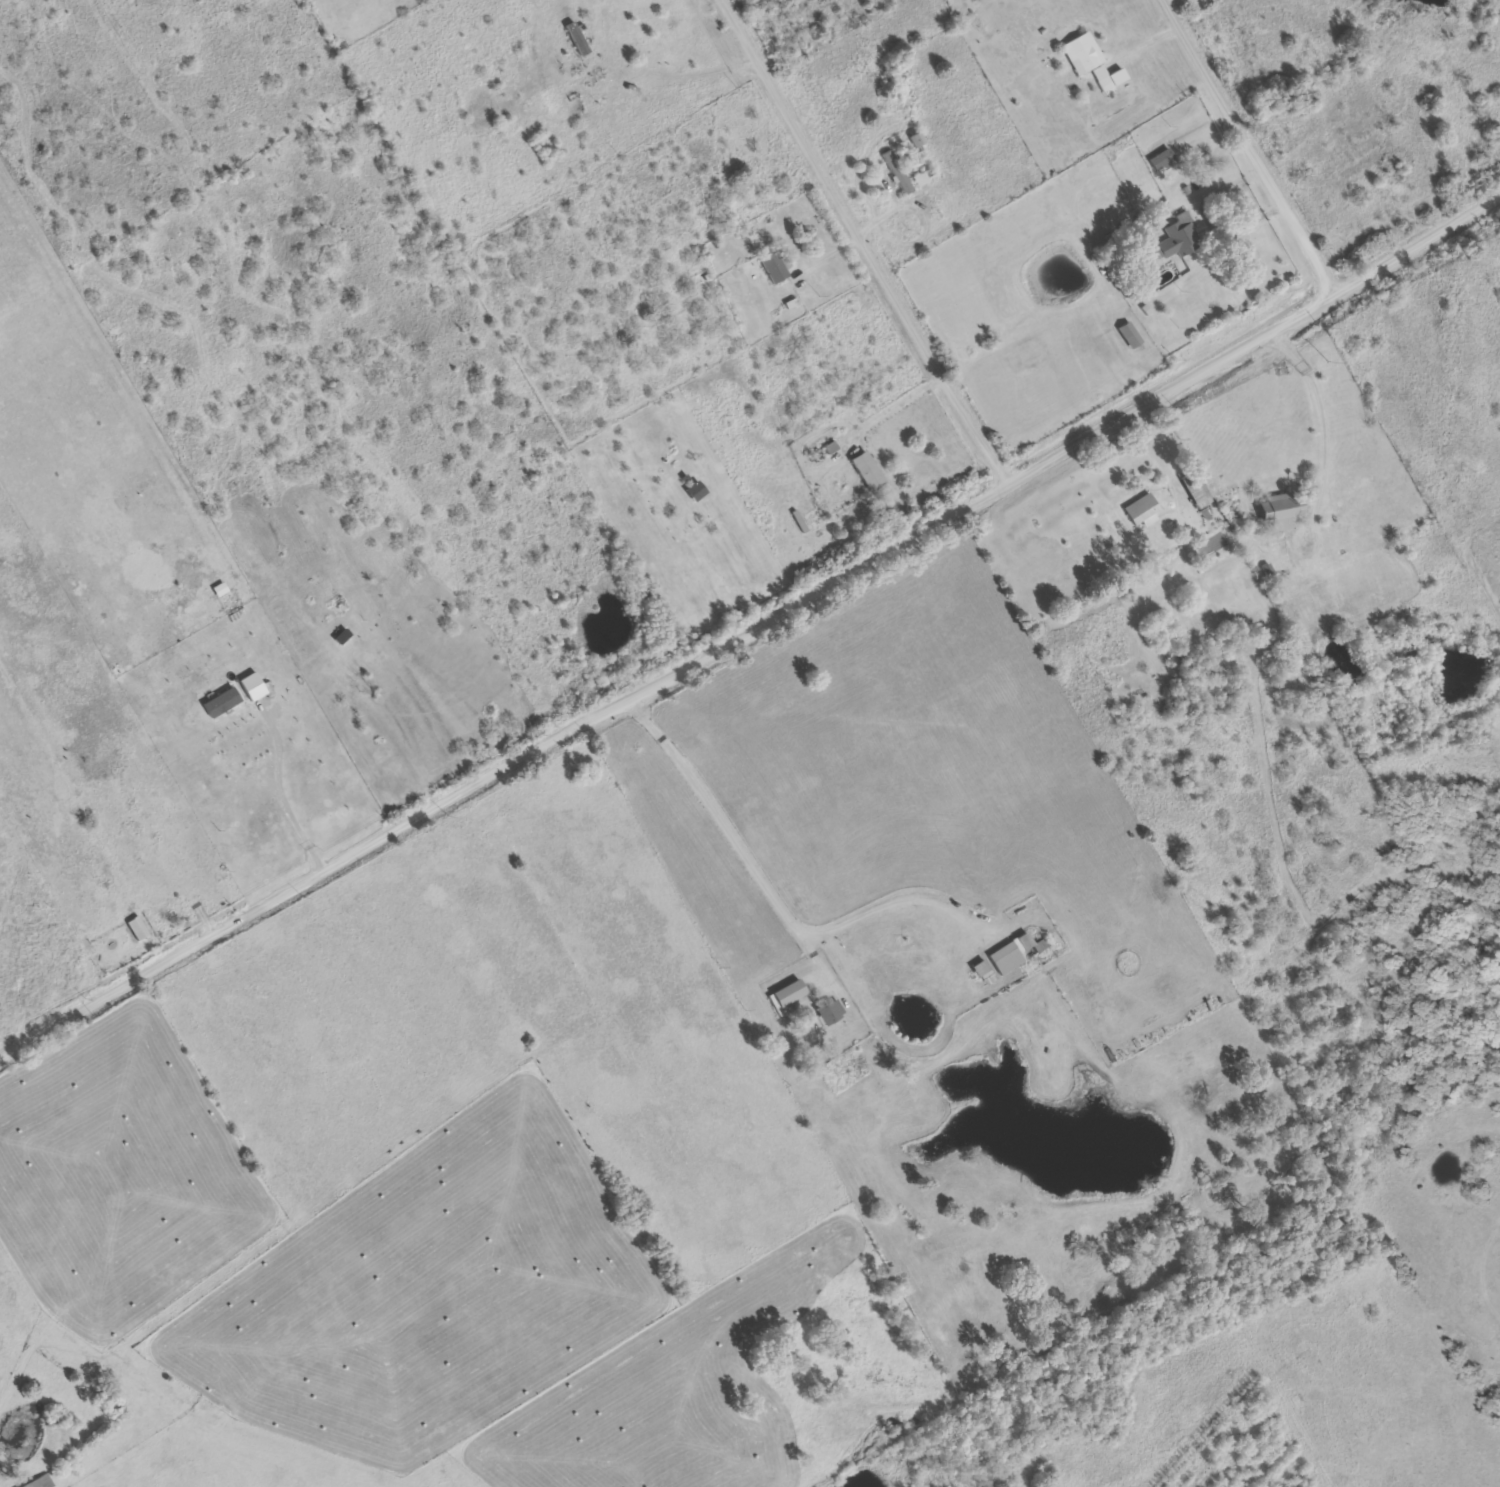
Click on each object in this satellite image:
building: (580, 39)
building: (1087, 62)
building: (1112, 78)
road: (1250, 148)
building: (1162, 160)
building: (897, 172)
building: (1179, 238)
road: (862, 243)
building: (773, 266)
building: (1130, 336)
road: (1321, 430)
road: (1156, 447)
building: (868, 472)
building: (1196, 491)
building: (1141, 509)
building: (1282, 510)
building: (1209, 514)
road: (751, 632)
building: (225, 702)
road: (732, 835)
building: (138, 930)
building: (1006, 958)
building: (984, 968)
building: (790, 996)
building: (830, 1012)
building: (41, 1482)

